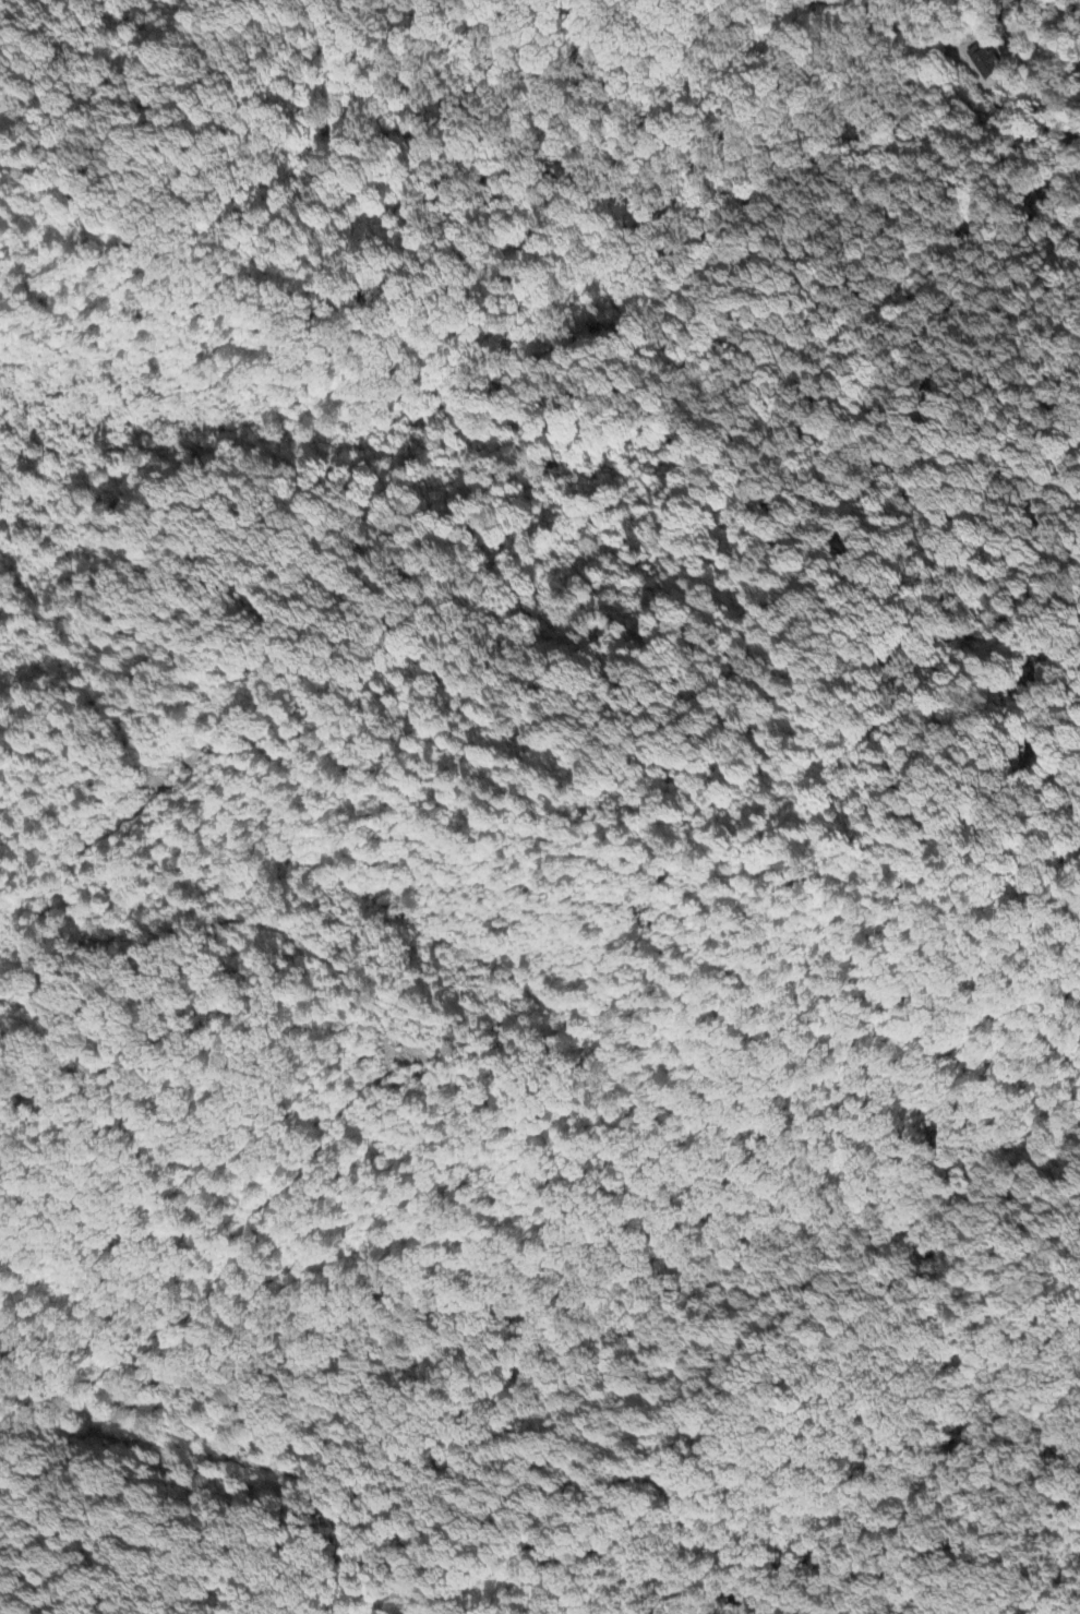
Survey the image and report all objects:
building: (986, 64)

